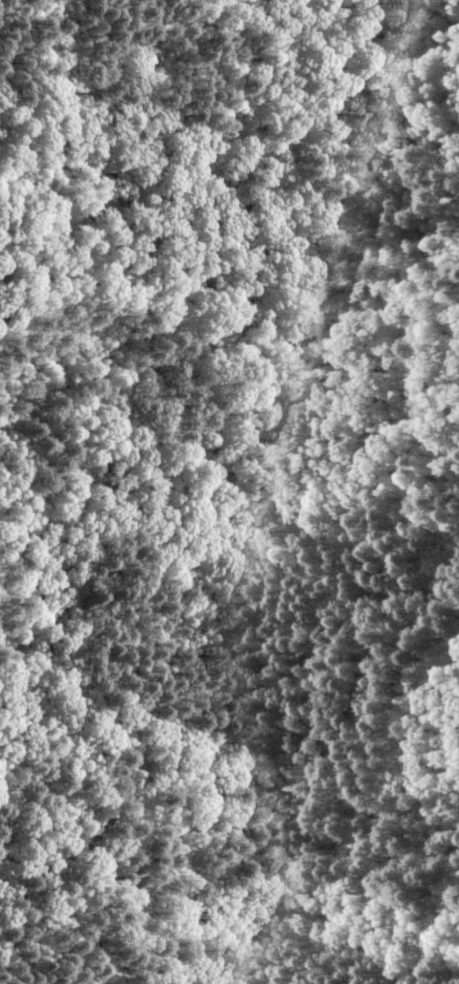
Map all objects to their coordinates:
road: (231, 805)

